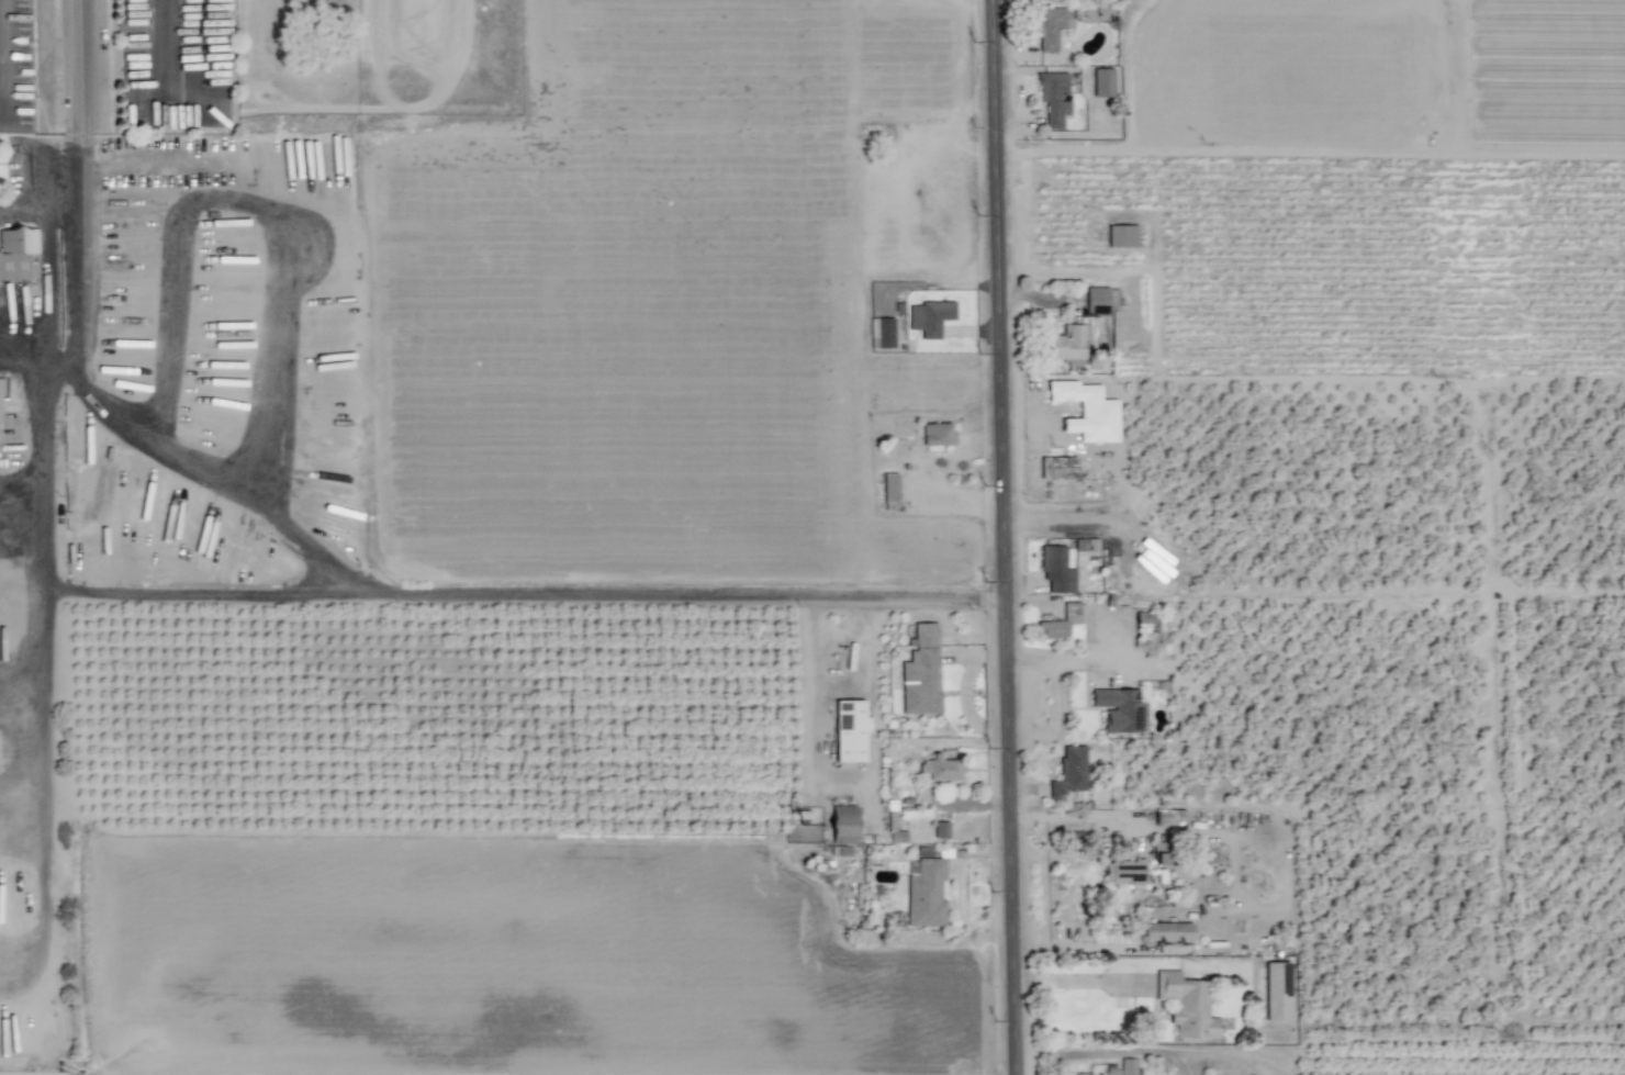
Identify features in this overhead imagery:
building: (1052, 26)
road: (156, 45)
road: (74, 63)
building: (1103, 82)
building: (1053, 98)
road: (194, 159)
road: (37, 203)
road: (75, 236)
building: (1121, 236)
building: (18, 254)
building: (1101, 300)
road: (294, 314)
building: (930, 317)
road: (184, 327)
building: (883, 332)
building: (1064, 343)
road: (21, 363)
road: (60, 365)
building: (0, 400)
building: (1087, 411)
building: (937, 434)
building: (1061, 468)
road: (42, 481)
building: (889, 488)
road: (228, 499)
road: (1006, 537)
road: (1006, 537)
railway: (1302, 537)
building: (1056, 570)
road: (685, 587)
road: (208, 593)
building: (1145, 622)
building: (1060, 623)
building: (921, 673)
building: (1119, 708)
building: (849, 730)
building: (941, 769)
building: (1071, 775)
road: (42, 795)
building: (1170, 817)
building: (843, 824)
building: (941, 830)
building: (1161, 854)
building: (1124, 871)
building: (924, 893)
building: (1168, 931)
road: (1178, 961)
building: (1277, 992)
building: (1187, 1005)
building: (1128, 1066)
building: (1077, 1074)

